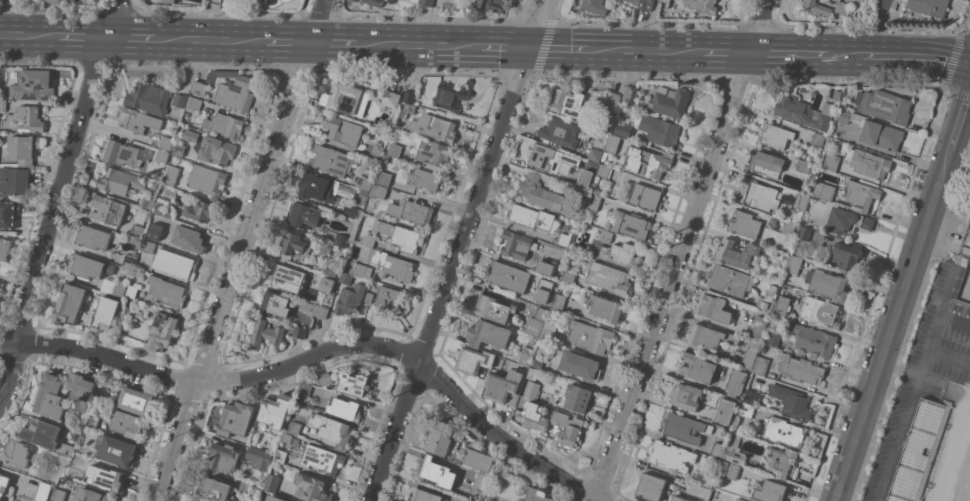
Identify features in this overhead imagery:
building: (632, 0)
building: (52, 1)
building: (70, 1)
building: (169, 1)
building: (270, 1)
building: (390, 1)
building: (231, 2)
building: (375, 2)
building: (427, 2)
building: (215, 3)
building: (645, 4)
building: (887, 4)
building: (493, 5)
building: (703, 5)
building: (595, 6)
building: (929, 6)
building: (818, 7)
building: (843, 7)
road: (31, 35)
road: (83, 37)
road: (129, 39)
road: (211, 41)
road: (289, 43)
road: (330, 44)
road: (413, 46)
road: (502, 47)
road: (557, 48)
road: (646, 49)
road: (727, 51)
road: (787, 51)
road: (844, 52)
road: (916, 53)
building: (35, 85)
building: (200, 87)
building: (804, 89)
building: (237, 92)
building: (630, 94)
building: (837, 94)
building: (345, 96)
building: (410, 96)
building: (450, 96)
building: (149, 97)
building: (614, 97)
building: (390, 98)
building: (180, 99)
building: (568, 102)
building: (671, 102)
building: (194, 103)
building: (3, 105)
building: (887, 106)
building: (408, 110)
building: (805, 113)
building: (844, 116)
road: (959, 117)
building: (25, 118)
building: (138, 120)
building: (226, 124)
building: (440, 128)
building: (623, 129)
building: (659, 129)
building: (344, 130)
building: (560, 131)
building: (882, 134)
building: (775, 135)
building: (817, 139)
building: (166, 142)
building: (613, 143)
building: (23, 148)
building: (179, 148)
building: (395, 150)
building: (430, 150)
building: (219, 151)
building: (376, 151)
building: (121, 153)
building: (597, 154)
building: (161, 155)
building: (385, 158)
building: (550, 158)
building: (331, 159)
building: (647, 161)
building: (831, 161)
building: (766, 163)
building: (872, 164)
building: (803, 165)
building: (604, 170)
building: (171, 174)
building: (385, 178)
building: (585, 178)
building: (426, 179)
building: (14, 180)
building: (207, 180)
building: (121, 181)
building: (364, 181)
building: (317, 187)
building: (824, 189)
building: (364, 191)
building: (378, 191)
building: (541, 192)
building: (861, 193)
building: (760, 195)
building: (646, 196)
building: (148, 200)
building: (802, 200)
building: (593, 201)
road: (57, 203)
building: (968, 204)
building: (164, 208)
building: (108, 209)
building: (200, 210)
building: (352, 210)
building: (411, 211)
building: (9, 213)
building: (142, 215)
building: (154, 215)
building: (305, 215)
building: (531, 216)
building: (587, 217)
building: (848, 221)
building: (630, 223)
building: (744, 223)
building: (789, 228)
building: (137, 231)
building: (155, 231)
building: (805, 233)
building: (606, 235)
building: (96, 237)
building: (189, 238)
building: (564, 238)
building: (342, 239)
building: (369, 239)
building: (408, 239)
building: (295, 244)
building: (517, 244)
building: (720, 245)
building: (4, 247)
building: (148, 247)
road: (241, 250)
road: (456, 250)
road: (680, 250)
building: (737, 252)
building: (619, 254)
building: (846, 256)
building: (130, 260)
building: (176, 263)
building: (390, 263)
building: (795, 264)
building: (90, 266)
building: (546, 266)
building: (360, 268)
building: (331, 269)
building: (508, 276)
building: (569, 276)
building: (287, 277)
building: (346, 277)
building: (609, 277)
building: (731, 280)
building: (327, 284)
building: (830, 284)
building: (0, 285)
building: (119, 289)
building: (772, 290)
building: (133, 291)
building: (166, 291)
building: (548, 292)
building: (370, 297)
building: (348, 298)
building: (389, 298)
building: (783, 300)
building: (558, 301)
building: (275, 303)
building: (765, 303)
building: (70, 304)
building: (306, 305)
building: (495, 308)
building: (607, 308)
building: (715, 308)
building: (320, 311)
building: (820, 311)
building: (106, 313)
road: (953, 317)
building: (537, 321)
road: (892, 325)
building: (759, 327)
building: (549, 330)
building: (162, 332)
building: (299, 332)
building: (266, 333)
building: (488, 334)
building: (591, 336)
building: (710, 336)
building: (774, 338)
building: (813, 339)
road: (9, 342)
road: (328, 352)
road: (947, 354)
building: (526, 355)
building: (749, 358)
road: (921, 358)
building: (474, 360)
building: (536, 362)
building: (581, 365)
building: (761, 365)
building: (698, 366)
road: (898, 368)
building: (801, 369)
building: (533, 373)
building: (324, 378)
building: (735, 382)
building: (354, 383)
building: (506, 386)
building: (532, 389)
building: (82, 390)
building: (305, 391)
building: (686, 395)
building: (751, 395)
building: (51, 397)
building: (578, 397)
building: (136, 400)
building: (791, 401)
building: (746, 408)
building: (344, 409)
building: (276, 410)
building: (725, 410)
building: (237, 418)
building: (532, 418)
building: (93, 420)
building: (127, 423)
building: (684, 427)
building: (295, 428)
building: (333, 429)
building: (566, 429)
building: (784, 431)
building: (42, 432)
building: (441, 437)
building: (66, 448)
building: (718, 449)
building: (735, 449)
building: (117, 450)
building: (917, 450)
building: (18, 453)
building: (280, 455)
building: (671, 455)
building: (224, 456)
building: (259, 457)
building: (323, 458)
building: (478, 459)
building: (780, 460)
building: (729, 469)
building: (438, 472)
building: (107, 477)
building: (708, 479)
building: (481, 480)
building: (272, 483)
building: (4, 484)
building: (244, 486)
building: (651, 486)
building: (312, 487)
building: (215, 490)
building: (700, 490)
building: (771, 490)
building: (44, 491)
building: (61, 495)
building: (95, 495)
building: (425, 495)
building: (538, 495)
building: (680, 498)
building: (272, 499)
building: (741, 499)
building: (191, 500)
building: (194, 500)
building: (288, 500)
building: (469, 500)
building: (472, 500)
building: (525, 500)

